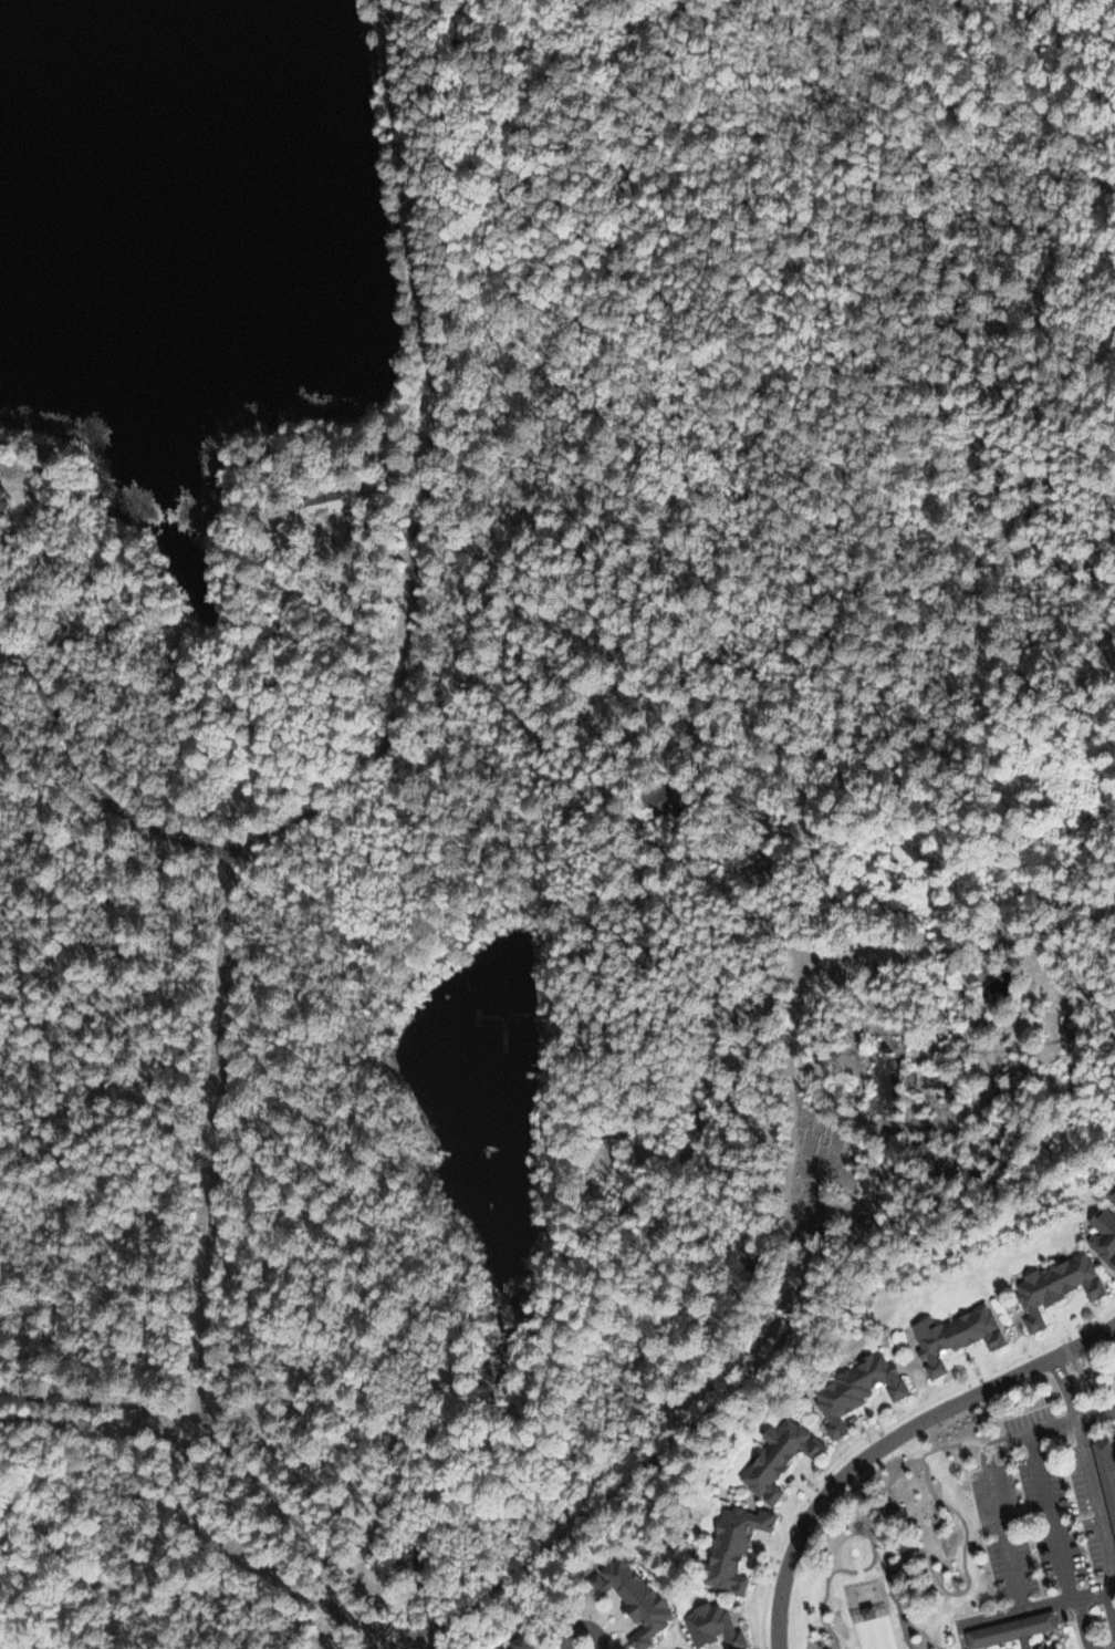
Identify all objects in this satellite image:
road: (425, 469)
building: (6, 499)
building: (340, 507)
road: (88, 785)
road: (211, 1138)
building: (924, 1157)
building: (1111, 1194)
building: (1102, 1234)
building: (1053, 1285)
building: (951, 1335)
road: (729, 1375)
road: (1063, 1387)
building: (852, 1390)
road: (1095, 1410)
road: (889, 1439)
building: (774, 1456)
road: (223, 1464)
building: (1105, 1481)
building: (729, 1546)
building: (631, 1598)
road: (1024, 1609)
building: (863, 1610)
road: (580, 1625)
building: (710, 1625)
building: (1008, 1629)
building: (518, 1642)
building: (1053, 1648)

